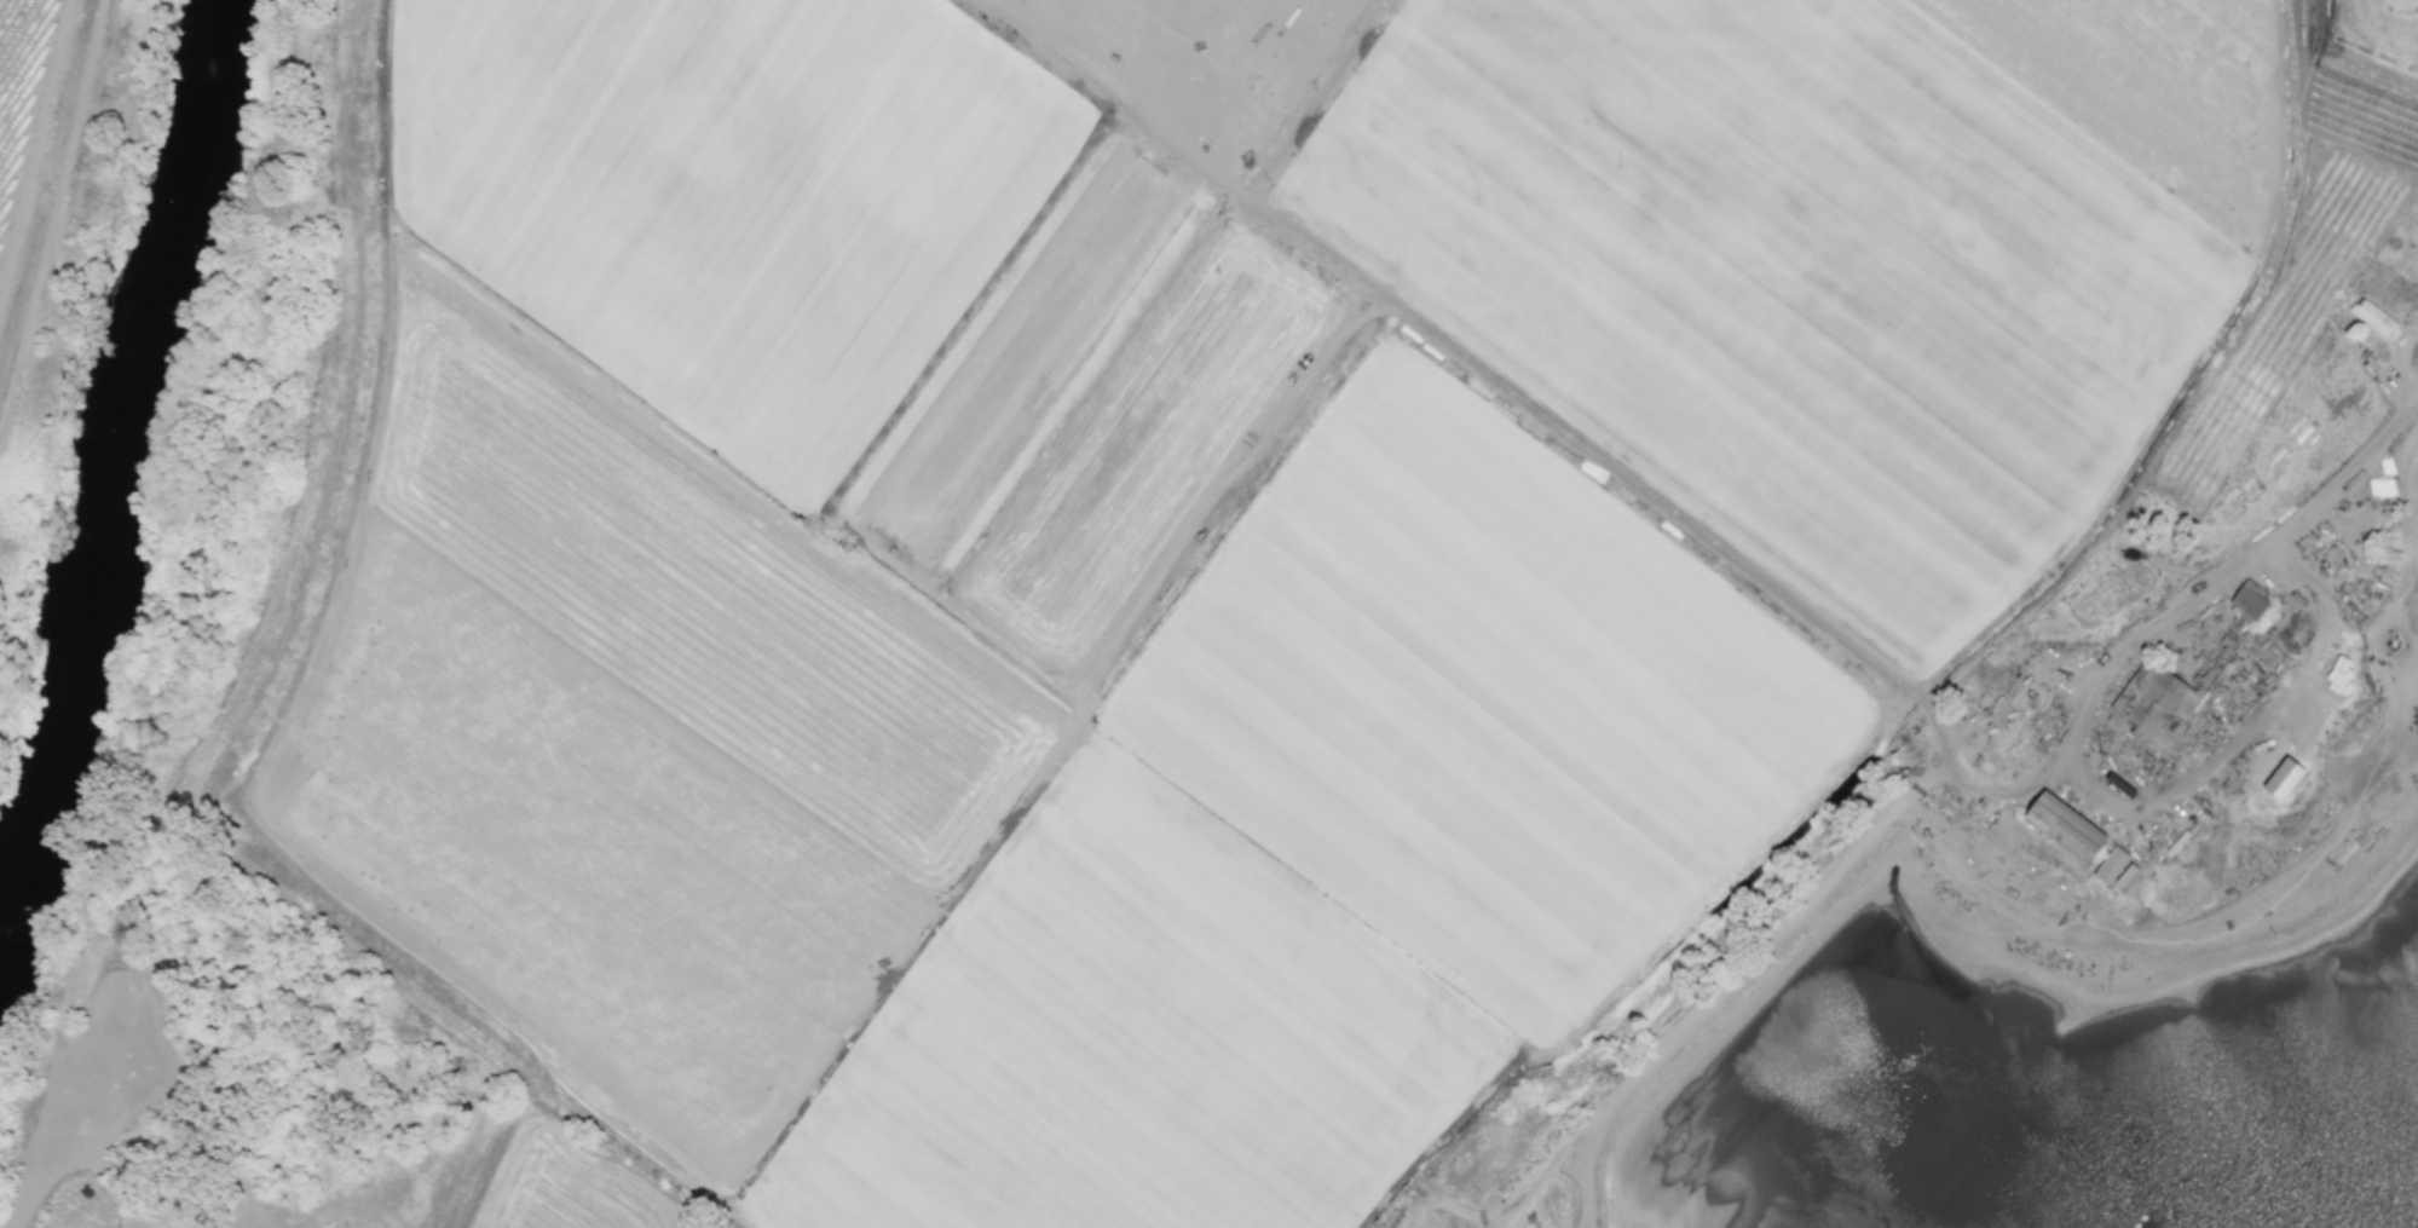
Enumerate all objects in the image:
building: (2374, 319)
river: (125, 473)
road: (2227, 578)
building: (2247, 603)
building: (2156, 703)
road: (2247, 727)
building: (2283, 779)
building: (2064, 828)
building: (2110, 865)
building: (2124, 876)

